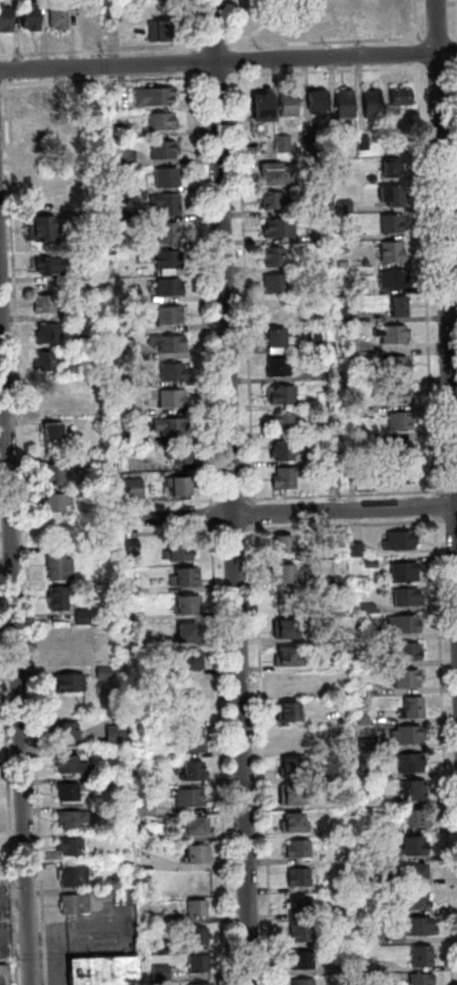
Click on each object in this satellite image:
building: (110, 14)
building: (28, 15)
building: (86, 15)
building: (55, 16)
building: (4, 19)
park: (322, 20)
road: (456, 20)
road: (413, 21)
road: (232, 24)
road: (189, 25)
building: (158, 31)
road: (342, 40)
road: (213, 44)
road: (456, 46)
road: (99, 48)
road: (414, 52)
road: (2, 57)
road: (190, 57)
road: (233, 59)
road: (228, 61)
road: (442, 65)
road: (2, 69)
road: (326, 70)
road: (213, 76)
road: (102, 79)
road: (0, 88)
road: (3, 88)
building: (401, 94)
building: (153, 95)
building: (39, 99)
building: (108, 99)
building: (316, 99)
building: (288, 102)
building: (344, 102)
building: (372, 103)
building: (263, 104)
building: (160, 119)
building: (39, 127)
building: (121, 127)
building: (359, 140)
building: (392, 140)
building: (280, 143)
building: (332, 144)
building: (163, 148)
building: (310, 149)
building: (39, 152)
building: (126, 155)
building: (392, 163)
building: (273, 173)
building: (166, 176)
building: (122, 186)
building: (37, 188)
building: (391, 193)
building: (273, 198)
building: (166, 202)
building: (341, 206)
building: (123, 214)
building: (392, 222)
building: (278, 226)
building: (42, 228)
building: (168, 232)
building: (319, 234)
building: (392, 249)
building: (274, 256)
building: (168, 258)
building: (48, 265)
road: (424, 277)
building: (394, 278)
building: (275, 282)
building: (168, 285)
road: (202, 288)
road: (245, 296)
road: (445, 296)
building: (46, 302)
building: (399, 304)
building: (278, 310)
building: (170, 313)
building: (347, 315)
building: (327, 317)
building: (47, 332)
building: (390, 333)
building: (275, 340)
building: (348, 340)
building: (167, 341)
building: (325, 346)
building: (45, 360)
building: (395, 363)
building: (277, 365)
building: (172, 370)
building: (394, 391)
building: (281, 393)
building: (55, 396)
building: (173, 396)
building: (355, 410)
building: (398, 417)
building: (283, 420)
building: (167, 425)
building: (325, 428)
building: (52, 431)
building: (401, 448)
building: (282, 449)
building: (181, 454)
building: (53, 471)
building: (346, 473)
building: (398, 475)
building: (284, 476)
building: (329, 479)
building: (180, 485)
building: (132, 487)
road: (449, 488)
road: (228, 492)
road: (343, 492)
road: (231, 498)
road: (212, 499)
building: (54, 501)
road: (168, 502)
road: (433, 504)
road: (293, 513)
road: (210, 514)
road: (129, 519)
road: (449, 519)
road: (344, 523)
road: (232, 527)
road: (215, 529)
road: (170, 530)
road: (25, 531)
building: (398, 538)
building: (284, 542)
building: (331, 542)
building: (129, 546)
building: (82, 547)
building: (355, 548)
building: (180, 551)
building: (369, 562)
building: (56, 567)
building: (402, 570)
building: (283, 572)
building: (185, 575)
building: (334, 579)
building: (129, 590)
building: (405, 595)
building: (55, 597)
building: (187, 603)
building: (287, 603)
building: (364, 609)
building: (79, 617)
building: (133, 620)
building: (402, 622)
building: (288, 627)
building: (189, 631)
building: (359, 632)
building: (336, 637)
building: (407, 650)
building: (289, 656)
building: (189, 659)
building: (358, 663)
road: (14, 668)
building: (100, 673)
building: (404, 677)
building: (65, 681)
building: (289, 682)
building: (413, 705)
building: (289, 710)
building: (363, 715)
building: (68, 728)
building: (116, 733)
building: (406, 733)
building: (343, 737)
building: (290, 738)
building: (191, 742)
building: (367, 744)
road: (443, 749)
road: (262, 754)
road: (219, 757)
building: (408, 761)
building: (67, 763)
building: (294, 767)
building: (192, 769)
building: (340, 775)
building: (98, 781)
building: (412, 789)
building: (65, 792)
building: (292, 795)
building: (188, 796)
road: (8, 799)
building: (145, 807)
building: (413, 817)
building: (70, 818)
building: (295, 821)
building: (196, 827)
building: (138, 839)
building: (412, 844)
building: (70, 845)
building: (296, 847)
building: (196, 852)
building: (123, 862)
building: (414, 872)
building: (72, 875)
building: (299, 875)
building: (99, 892)
building: (415, 898)
road: (12, 902)
building: (74, 902)
building: (299, 902)
building: (197, 906)
building: (159, 916)
parking lot: (6, 919)
building: (166, 922)
building: (418, 924)
building: (299, 931)
building: (374, 933)
building: (199, 934)
road: (13, 938)
building: (161, 946)
building: (425, 956)
building: (301, 959)
building: (198, 962)
building: (349, 965)
building: (376, 969)
building: (103, 970)
building: (160, 971)
building: (5, 975)
building: (424, 978)
building: (302, 981)
building: (199, 983)

